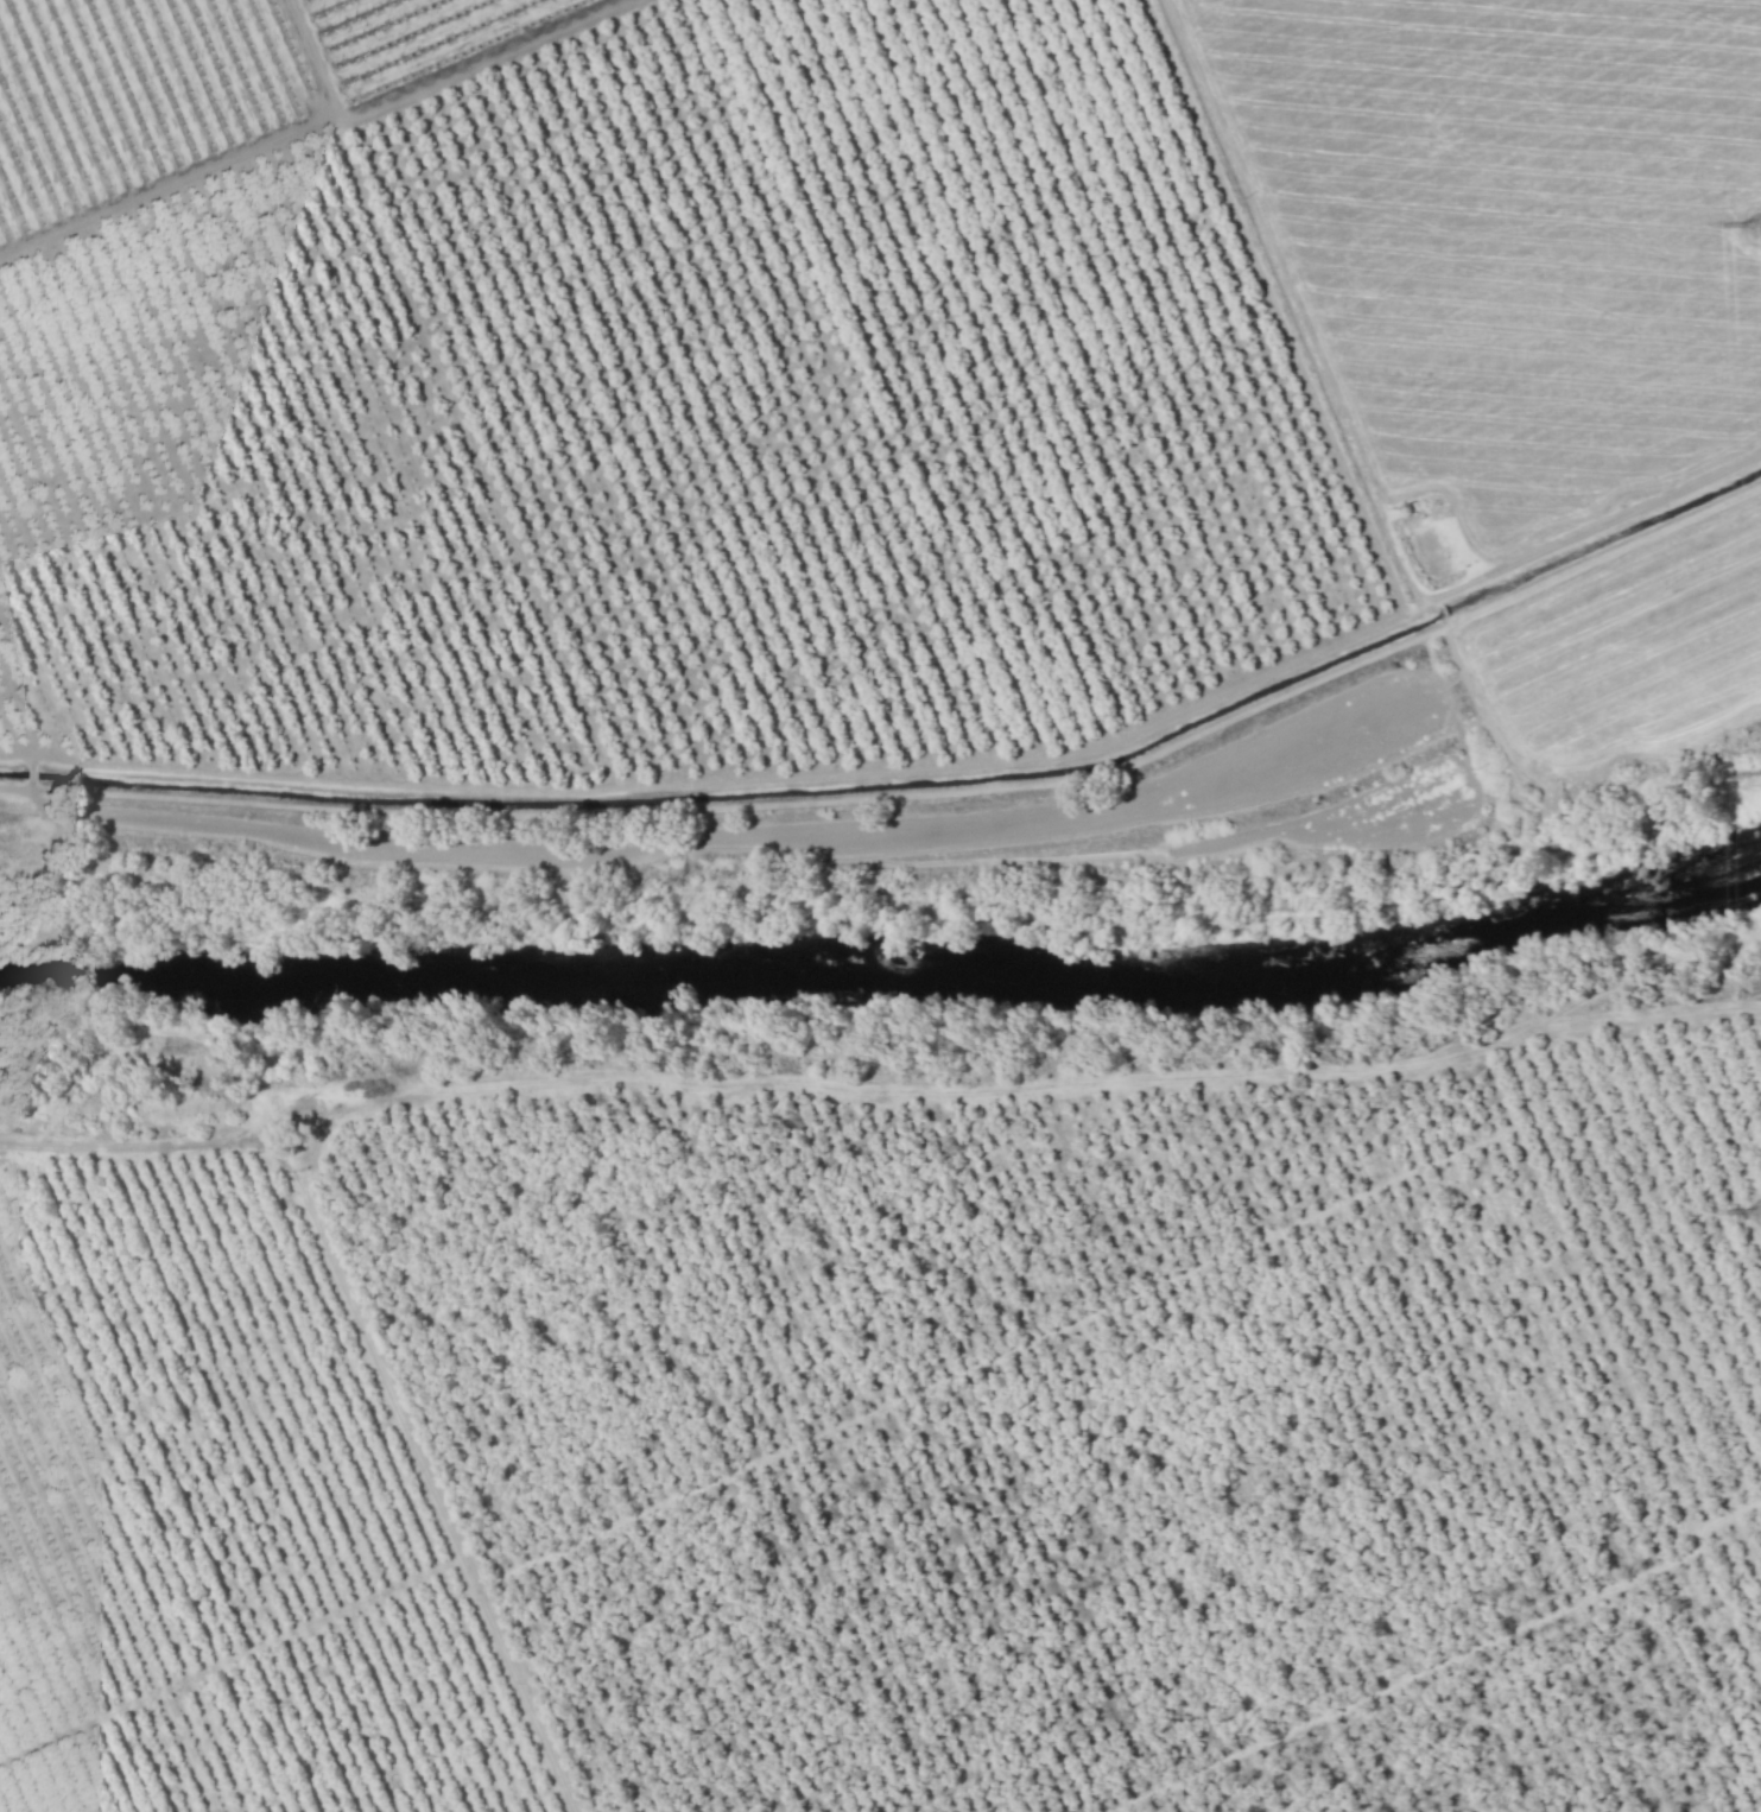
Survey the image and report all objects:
river: (888, 963)
road: (881, 1089)
road: (426, 1464)

